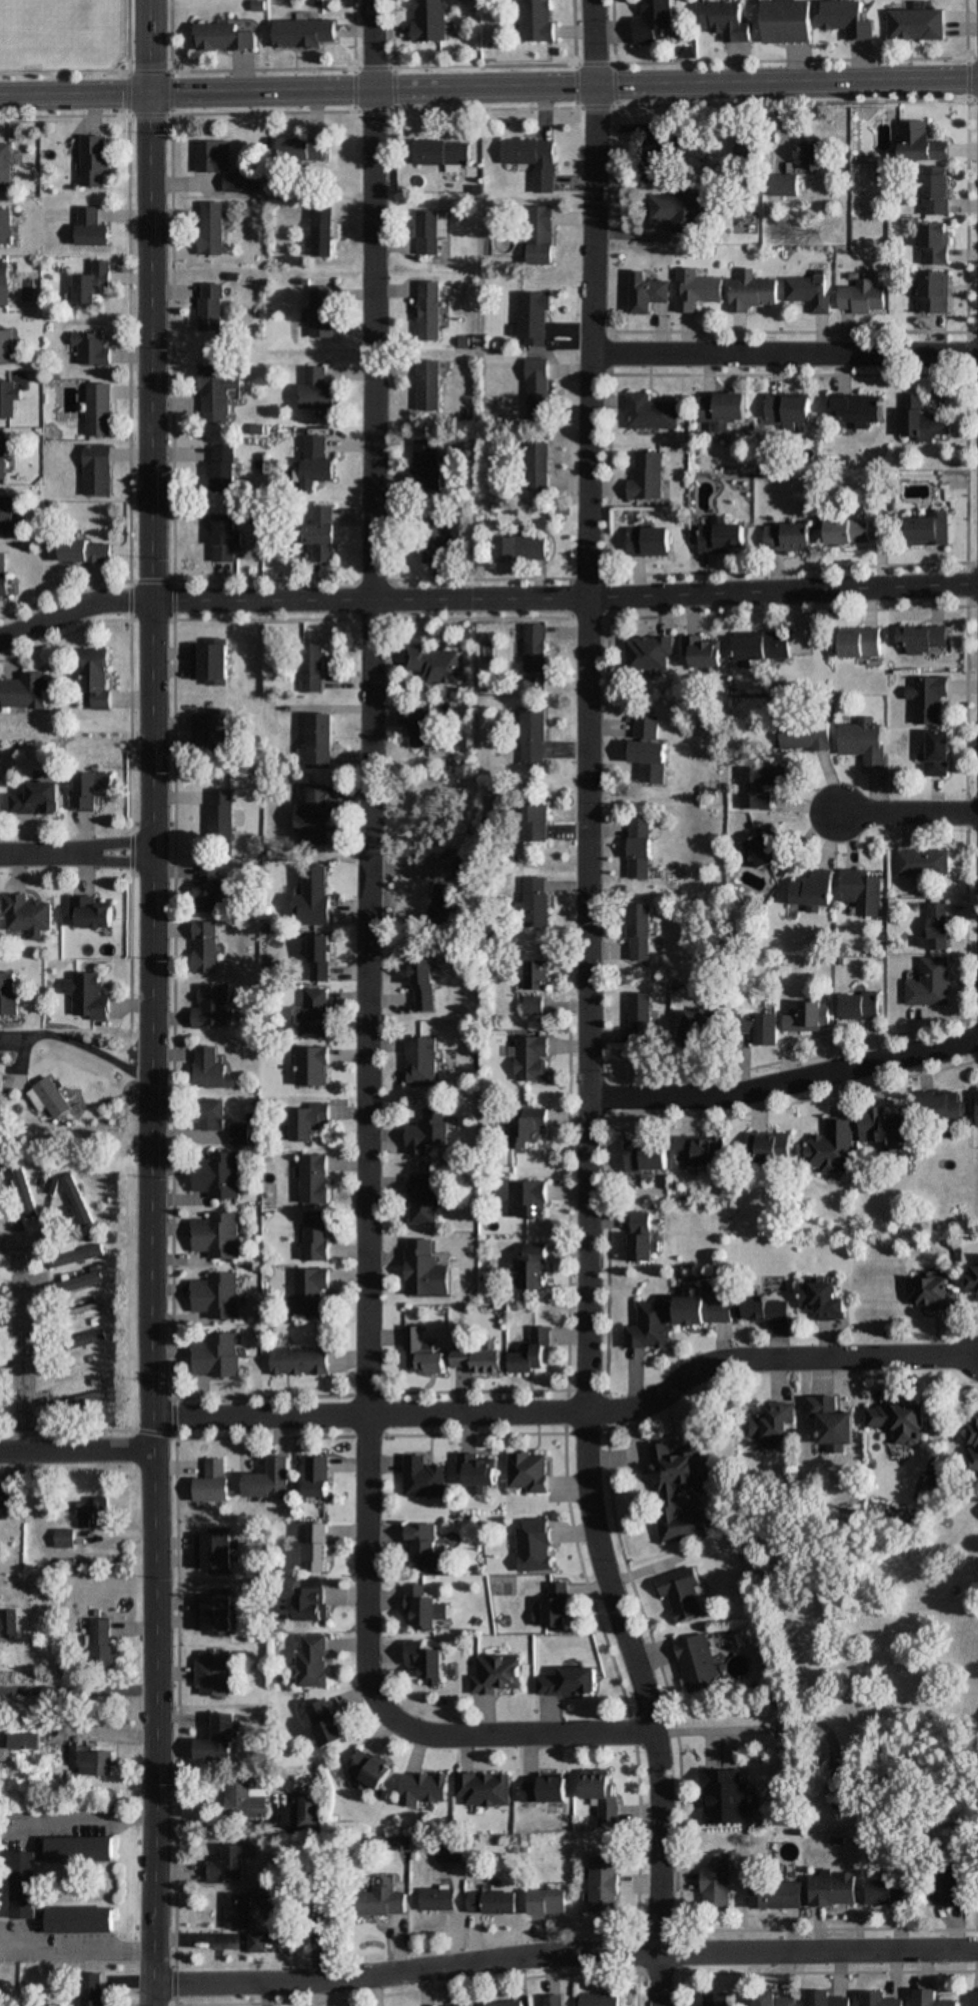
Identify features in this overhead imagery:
building: (849, 18)
building: (430, 20)
building: (537, 20)
building: (728, 20)
building: (789, 21)
building: (653, 22)
park: (49, 24)
building: (918, 24)
building: (304, 33)
building: (224, 37)
park: (64, 44)
road: (552, 61)
road: (63, 67)
road: (488, 82)
road: (170, 88)
road: (125, 89)
road: (488, 104)
building: (920, 143)
building: (303, 149)
building: (701, 150)
building: (442, 152)
building: (810, 154)
building: (213, 157)
building: (533, 160)
building: (95, 161)
building: (5, 167)
building: (656, 174)
building: (235, 183)
building: (784, 185)
building: (936, 194)
building: (680, 210)
building: (6, 227)
building: (92, 228)
building: (210, 229)
building: (322, 229)
building: (429, 232)
building: (541, 235)
building: (936, 243)
building: (92, 283)
building: (5, 284)
building: (695, 290)
building: (809, 292)
building: (647, 293)
building: (932, 293)
building: (753, 294)
building: (862, 297)
building: (209, 307)
building: (429, 311)
building: (321, 312)
building: (534, 317)
building: (7, 346)
building: (91, 349)
road: (784, 352)
building: (427, 385)
building: (316, 389)
building: (539, 390)
building: (213, 392)
building: (7, 399)
building: (98, 409)
building: (724, 409)
building: (791, 409)
building: (651, 411)
building: (858, 411)
building: (924, 421)
building: (2, 456)
building: (315, 462)
building: (540, 466)
building: (425, 467)
building: (222, 468)
building: (95, 470)
building: (648, 477)
building: (7, 512)
building: (930, 528)
building: (849, 530)
building: (320, 535)
building: (431, 535)
building: (224, 537)
building: (725, 537)
building: (790, 537)
building: (652, 541)
building: (523, 548)
building: (87, 551)
building: (4, 577)
road: (485, 600)
building: (926, 639)
building: (862, 644)
building: (765, 647)
building: (536, 648)
building: (706, 652)
building: (650, 655)
building: (428, 657)
building: (304, 658)
building: (209, 663)
building: (94, 677)
building: (25, 691)
building: (928, 700)
building: (414, 703)
road: (586, 706)
building: (414, 727)
building: (647, 727)
building: (209, 734)
building: (313, 735)
building: (536, 736)
building: (805, 737)
building: (864, 741)
building: (940, 753)
building: (651, 760)
building: (761, 785)
building: (89, 790)
building: (36, 799)
building: (307, 810)
road: (906, 811)
building: (215, 815)
building: (538, 822)
building: (639, 848)
building: (764, 850)
road: (73, 855)
building: (923, 861)
building: (456, 862)
building: (465, 871)
building: (206, 889)
building: (816, 889)
building: (309, 890)
building: (863, 891)
building: (445, 893)
building: (536, 902)
building: (88, 914)
building: (24, 915)
building: (939, 926)
building: (639, 932)
building: (202, 947)
building: (315, 951)
building: (535, 975)
building: (419, 976)
building: (930, 984)
road: (367, 994)
building: (8, 997)
building: (88, 997)
road: (146, 1003)
building: (312, 1006)
building: (533, 1006)
building: (863, 1006)
building: (210, 1008)
building: (639, 1019)
building: (808, 1019)
building: (699, 1027)
building: (763, 1029)
building: (415, 1055)
building: (531, 1059)
building: (306, 1060)
building: (209, 1070)
building: (3, 1078)
road: (784, 1079)
building: (54, 1098)
building: (944, 1107)
building: (977, 1109)
building: (207, 1114)
building: (302, 1114)
building: (421, 1125)
building: (886, 1127)
building: (527, 1130)
building: (238, 1134)
building: (832, 1147)
building: (770, 1148)
building: (703, 1153)
building: (648, 1155)
building: (310, 1173)
building: (218, 1176)
building: (21, 1190)
building: (416, 1194)
building: (529, 1200)
building: (76, 1201)
building: (310, 1230)
building: (216, 1236)
building: (641, 1237)
building: (419, 1264)
building: (535, 1267)
building: (974, 1283)
building: (304, 1286)
building: (933, 1293)
building: (215, 1296)
building: (823, 1301)
building: (764, 1308)
building: (705, 1311)
building: (83, 1312)
building: (649, 1327)
building: (89, 1338)
road: (22, 1339)
building: (526, 1345)
building: (416, 1346)
building: (475, 1352)
building: (294, 1355)
building: (216, 1356)
building: (76, 1402)
road: (570, 1412)
building: (898, 1422)
building: (831, 1423)
building: (773, 1425)
building: (974, 1446)
road: (75, 1450)
building: (478, 1471)
building: (529, 1473)
building: (318, 1478)
building: (423, 1479)
building: (271, 1480)
building: (213, 1482)
building: (666, 1493)
building: (5, 1497)
building: (88, 1511)
building: (422, 1545)
building: (535, 1545)
building: (318, 1546)
building: (213, 1553)
building: (680, 1593)
building: (313, 1603)
building: (556, 1604)
building: (424, 1608)
building: (212, 1614)
building: (8, 1622)
building: (100, 1644)
building: (313, 1661)
building: (427, 1661)
building: (697, 1663)
building: (212, 1673)
building: (497, 1674)
building: (569, 1682)
road: (77, 1691)
road: (642, 1705)
building: (328, 1722)
road: (716, 1729)
building: (217, 1736)
building: (27, 1741)
building: (89, 1761)
building: (372, 1769)
building: (424, 1788)
building: (484, 1789)
building: (545, 1790)
building: (600, 1790)
building: (725, 1796)
building: (841, 1797)
building: (243, 1799)
building: (305, 1808)
road: (92, 1811)
building: (450, 1852)
building: (226, 1865)
building: (715, 1881)
building: (24, 1884)
building: (952, 1884)
building: (605, 1885)
building: (831, 1890)
building: (886, 1892)
building: (776, 1895)
building: (437, 1899)
building: (383, 1900)
building: (551, 1902)
building: (493, 1903)
building: (238, 1910)
building: (259, 1943)
road: (79, 1944)
road: (563, 1955)
building: (93, 1989)
building: (975, 1997)
building: (933, 1998)
building: (602, 1999)
building: (716, 1999)
building: (772, 1999)
building: (826, 1999)
building: (879, 1999)
building: (555, 2000)
building: (507, 2003)
building: (467, 2005)

